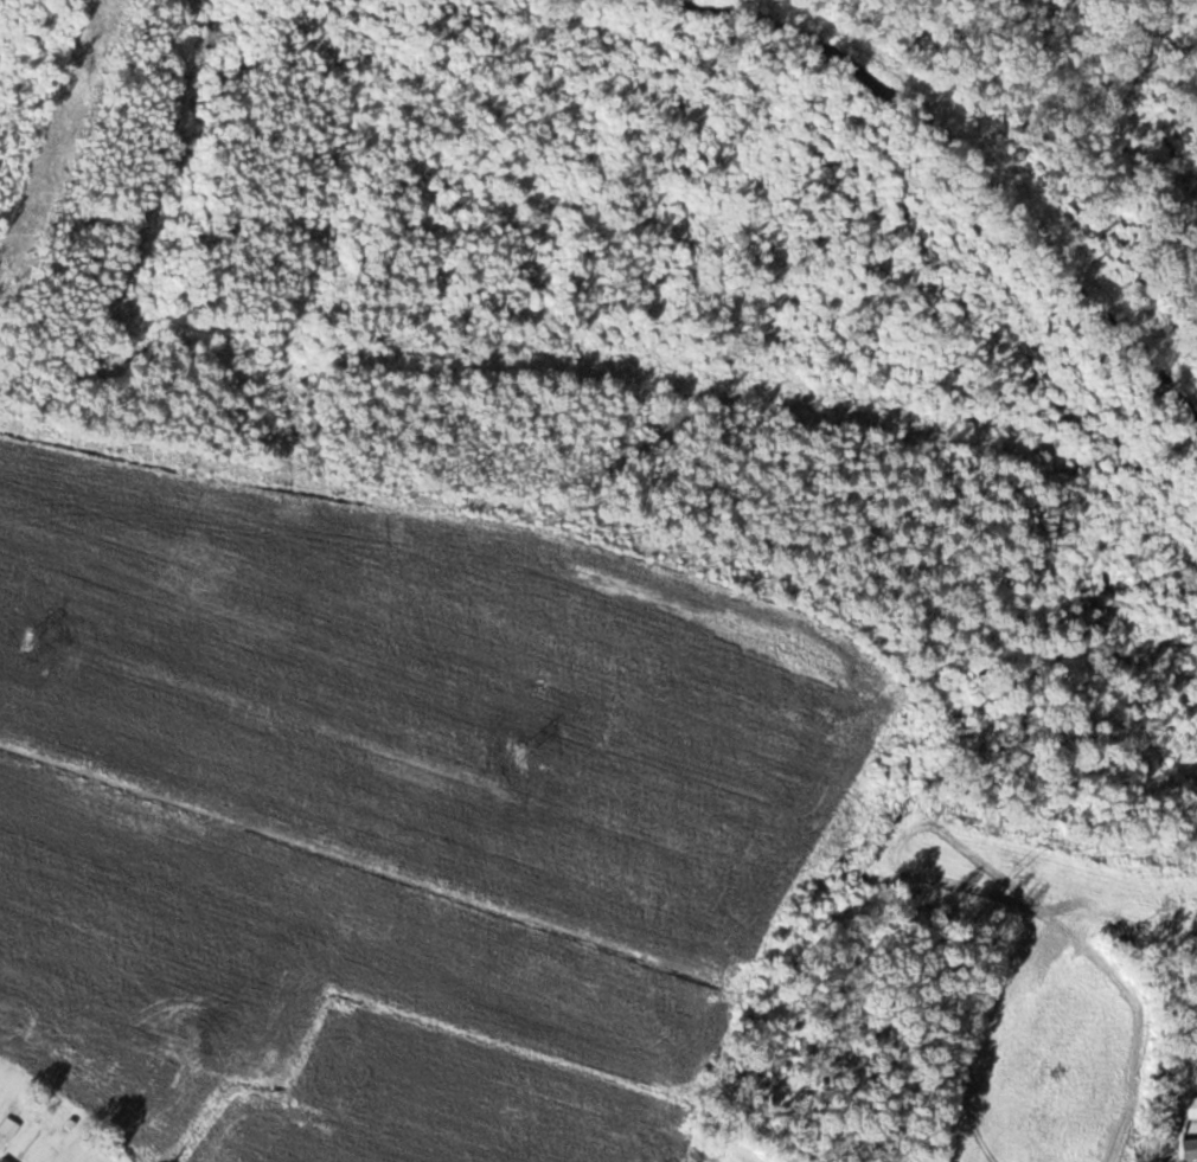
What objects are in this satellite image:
power tower: (31, 637)
power tower: (523, 755)
power tower: (1017, 868)
building: (1192, 1108)
building: (1190, 1149)
building: (6, 1160)

